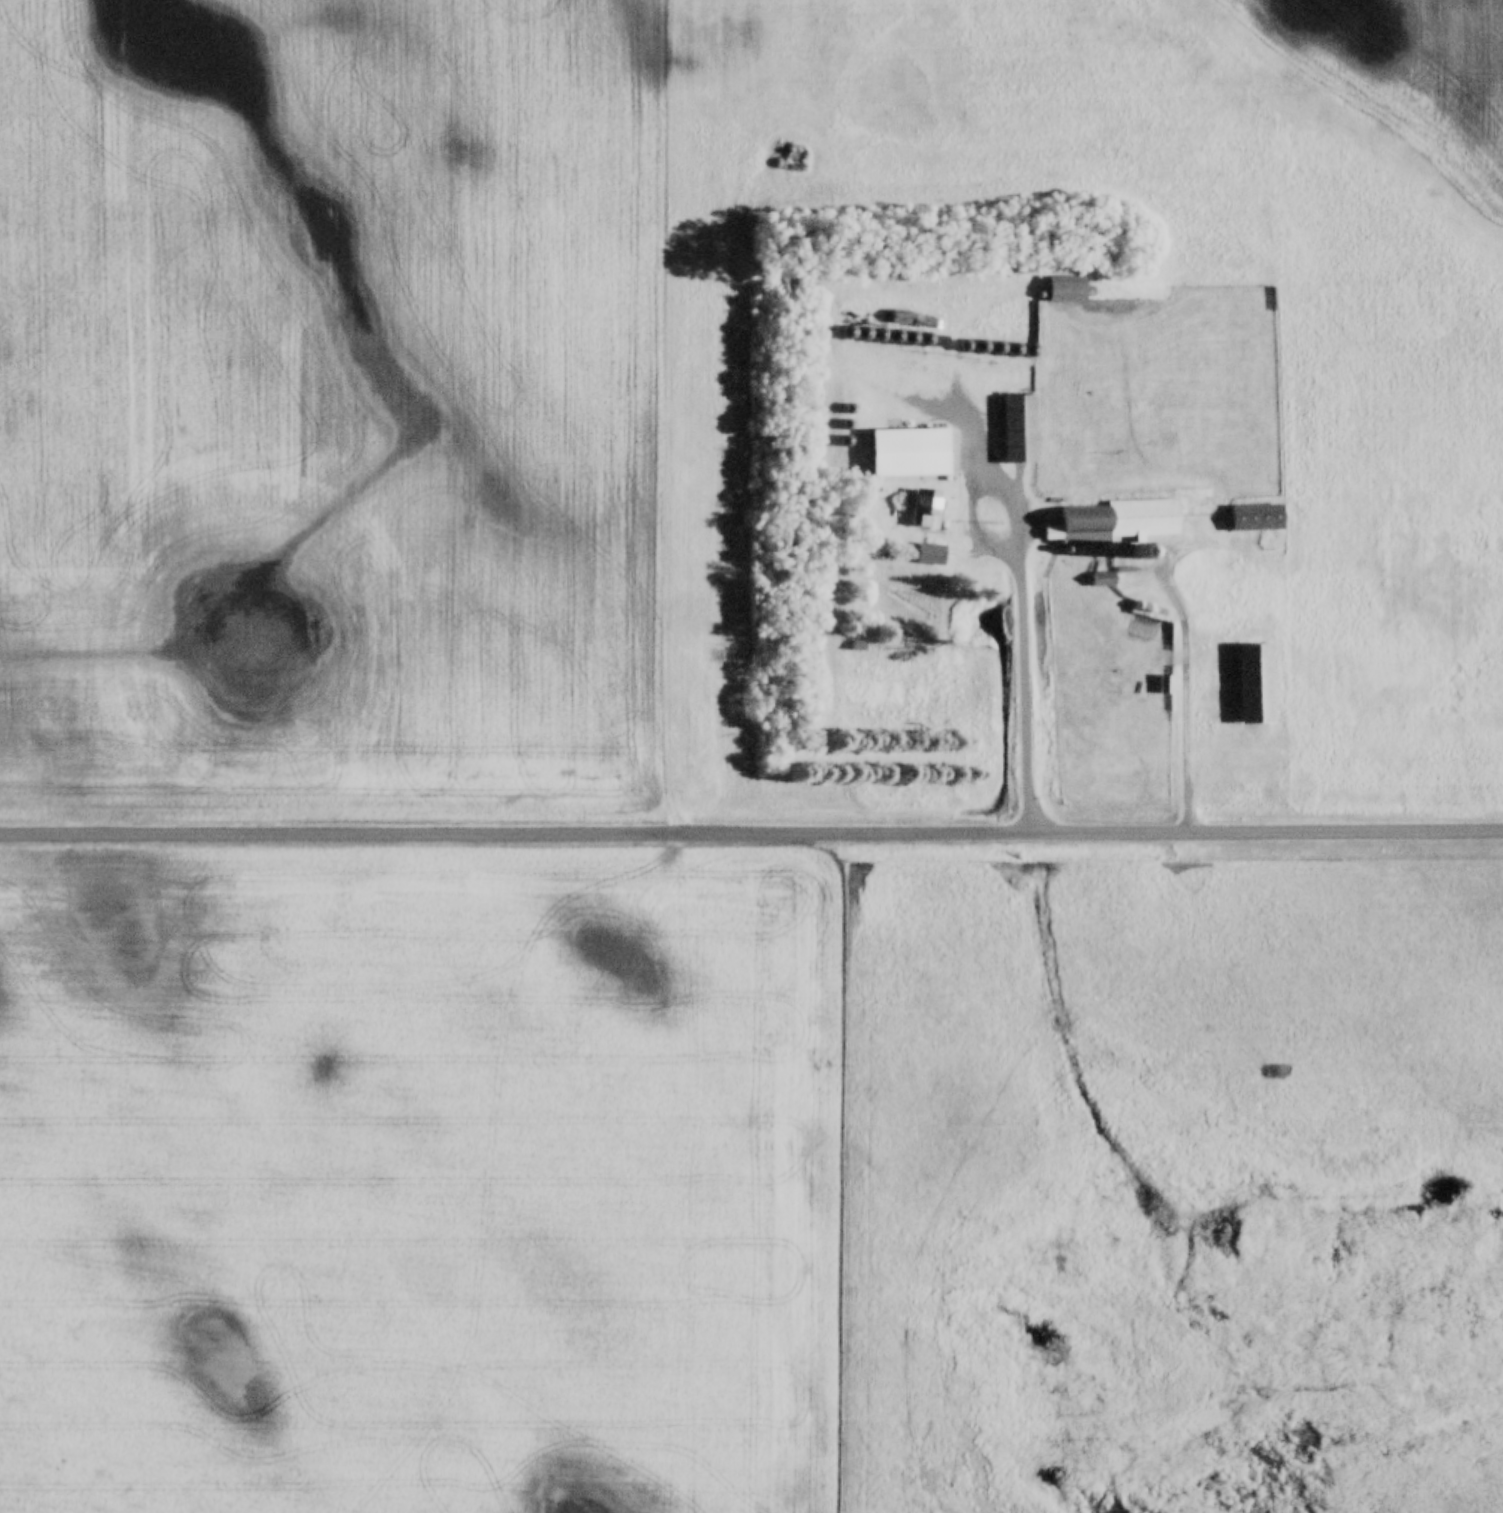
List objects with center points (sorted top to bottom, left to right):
building: (1066, 291)
road: (805, 300)
road: (959, 406)
building: (1019, 431)
building: (912, 454)
building: (925, 509)
building: (1256, 519)
building: (1116, 523)
building: (935, 556)
road: (1018, 595)
building: (858, 648)
road: (1181, 671)
building: (1247, 683)
road: (751, 829)

